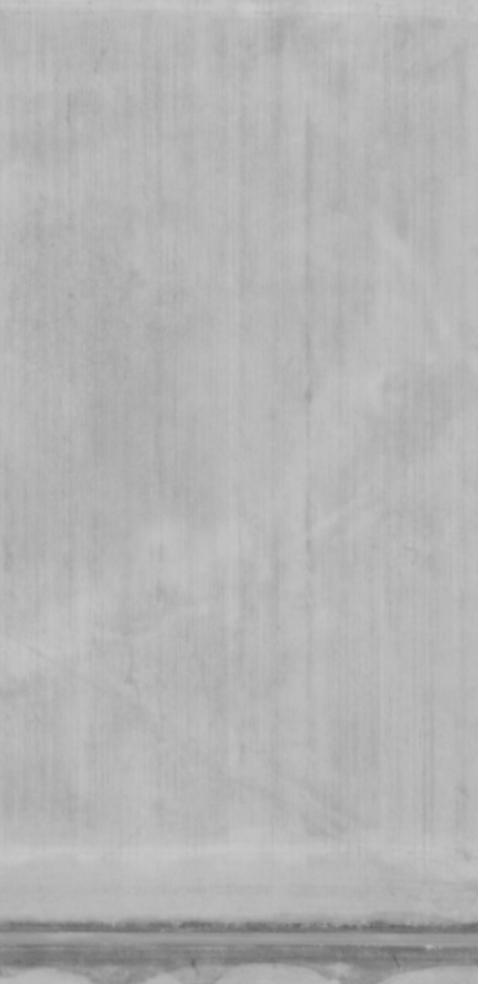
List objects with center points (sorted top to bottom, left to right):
road: (239, 936)

